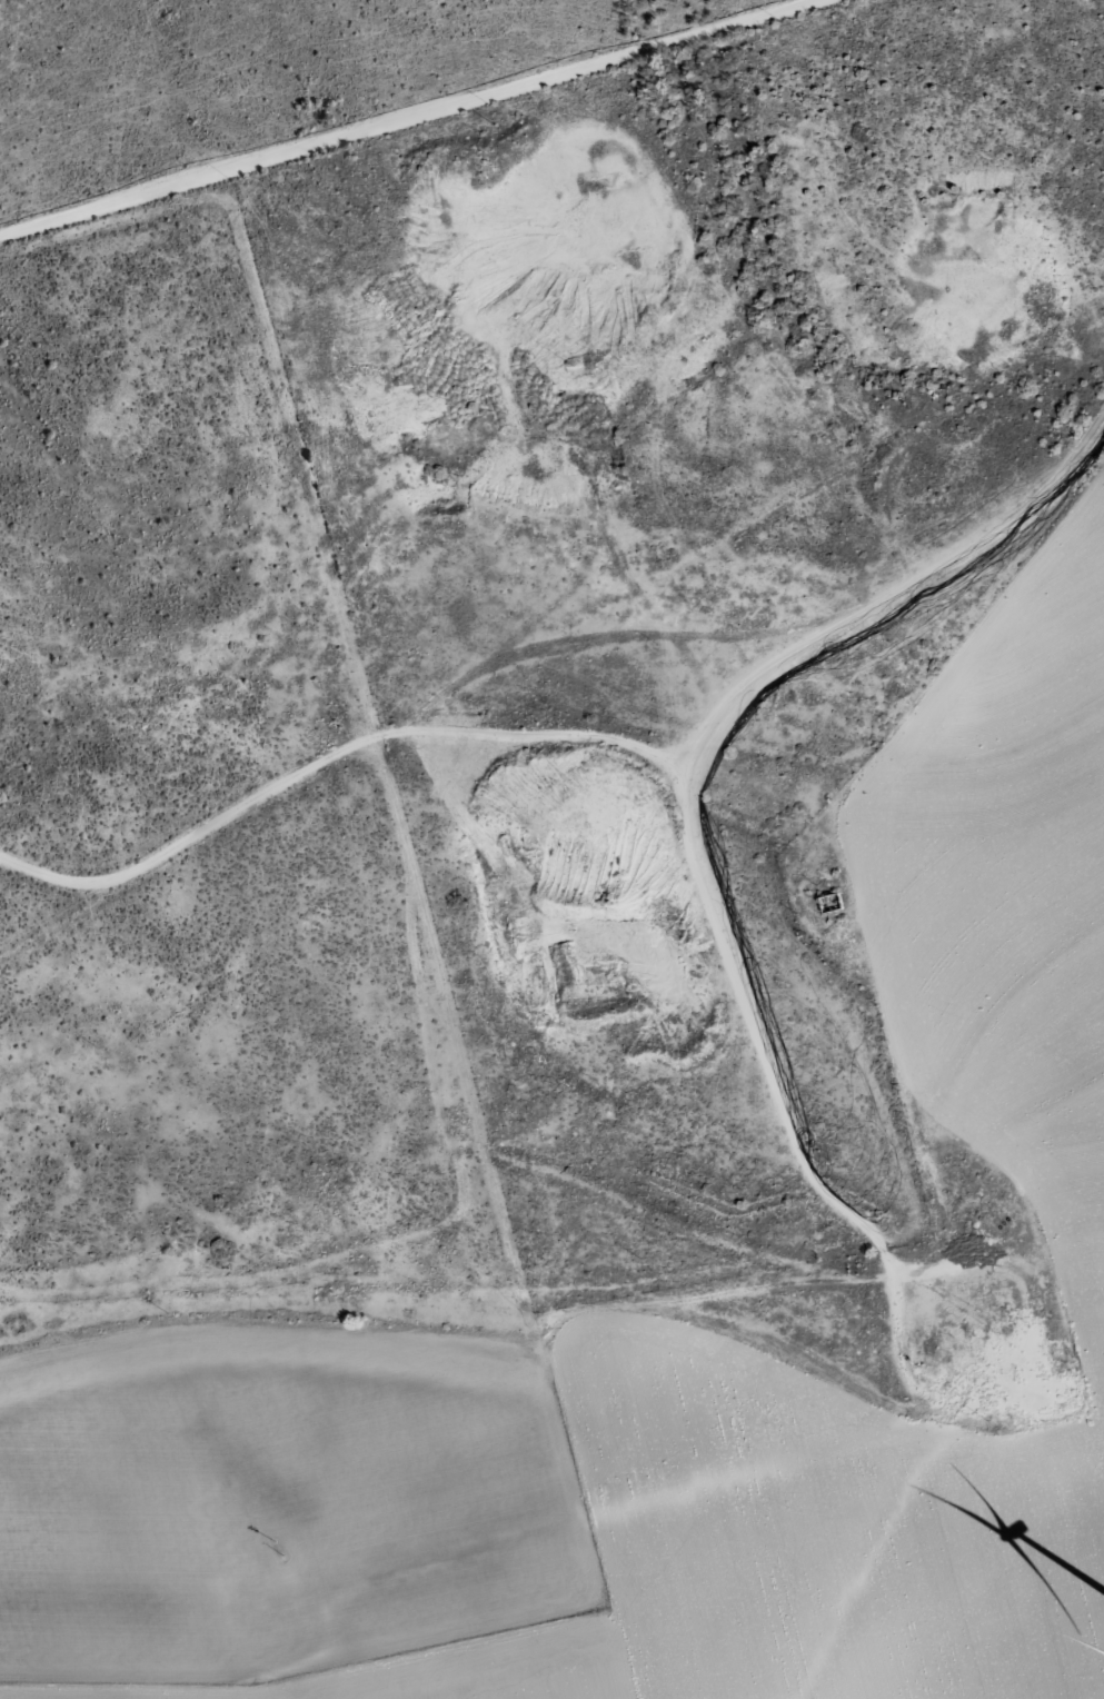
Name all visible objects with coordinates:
building: (831, 902)
building: (843, 1601)

